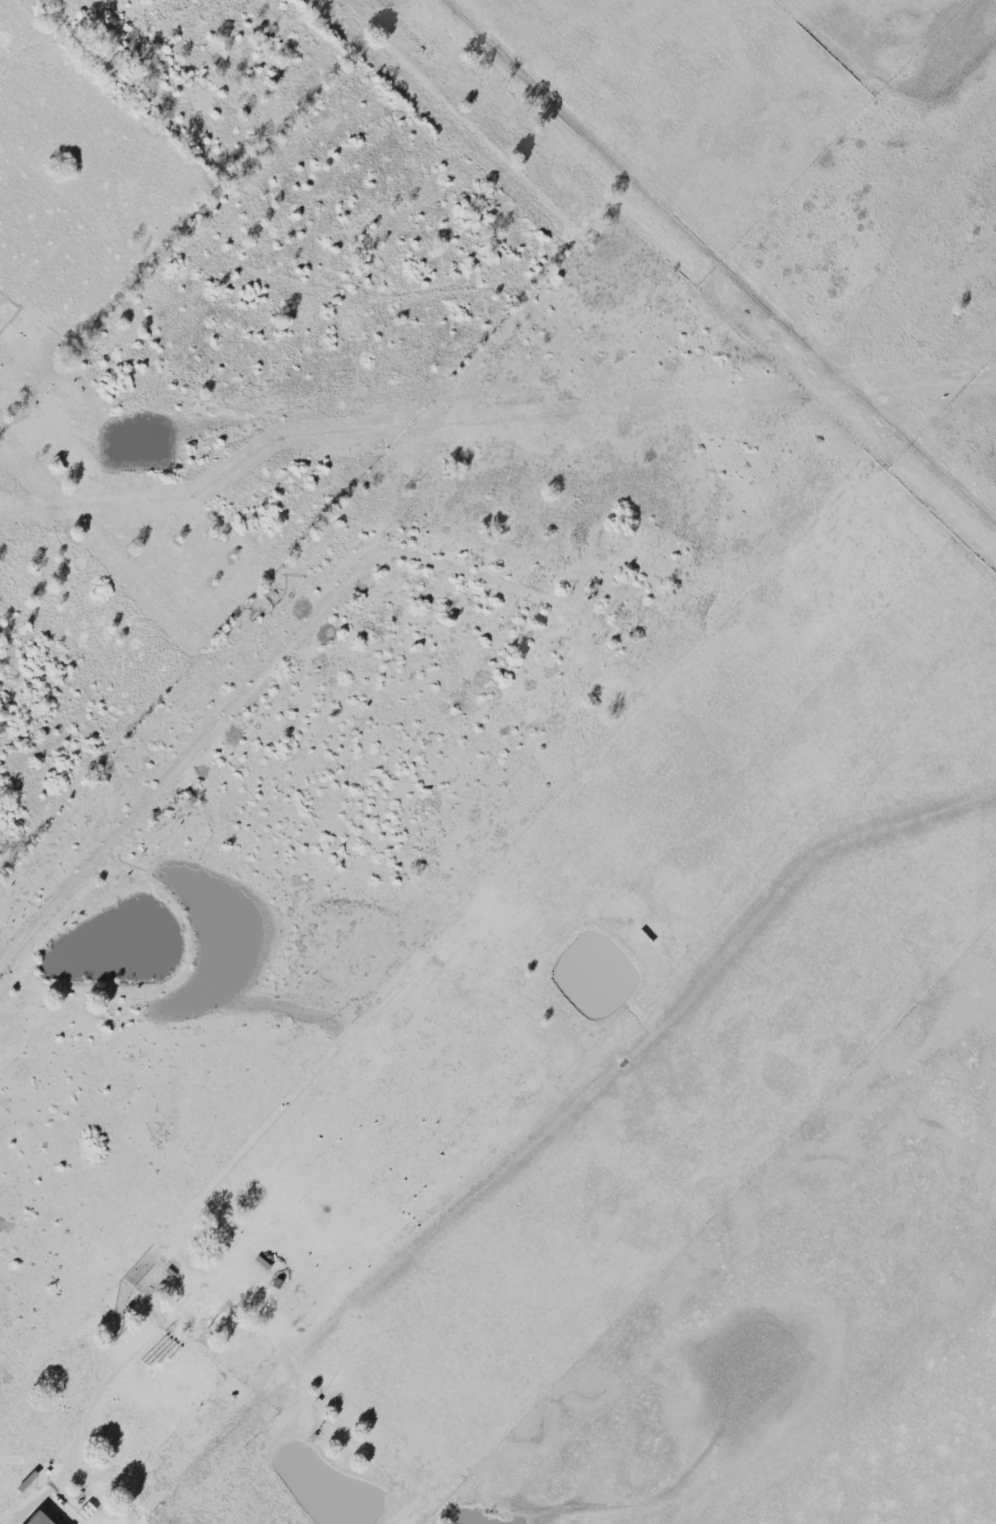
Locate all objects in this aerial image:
road: (240, 706)
road: (81, 1432)
building: (39, 1519)

